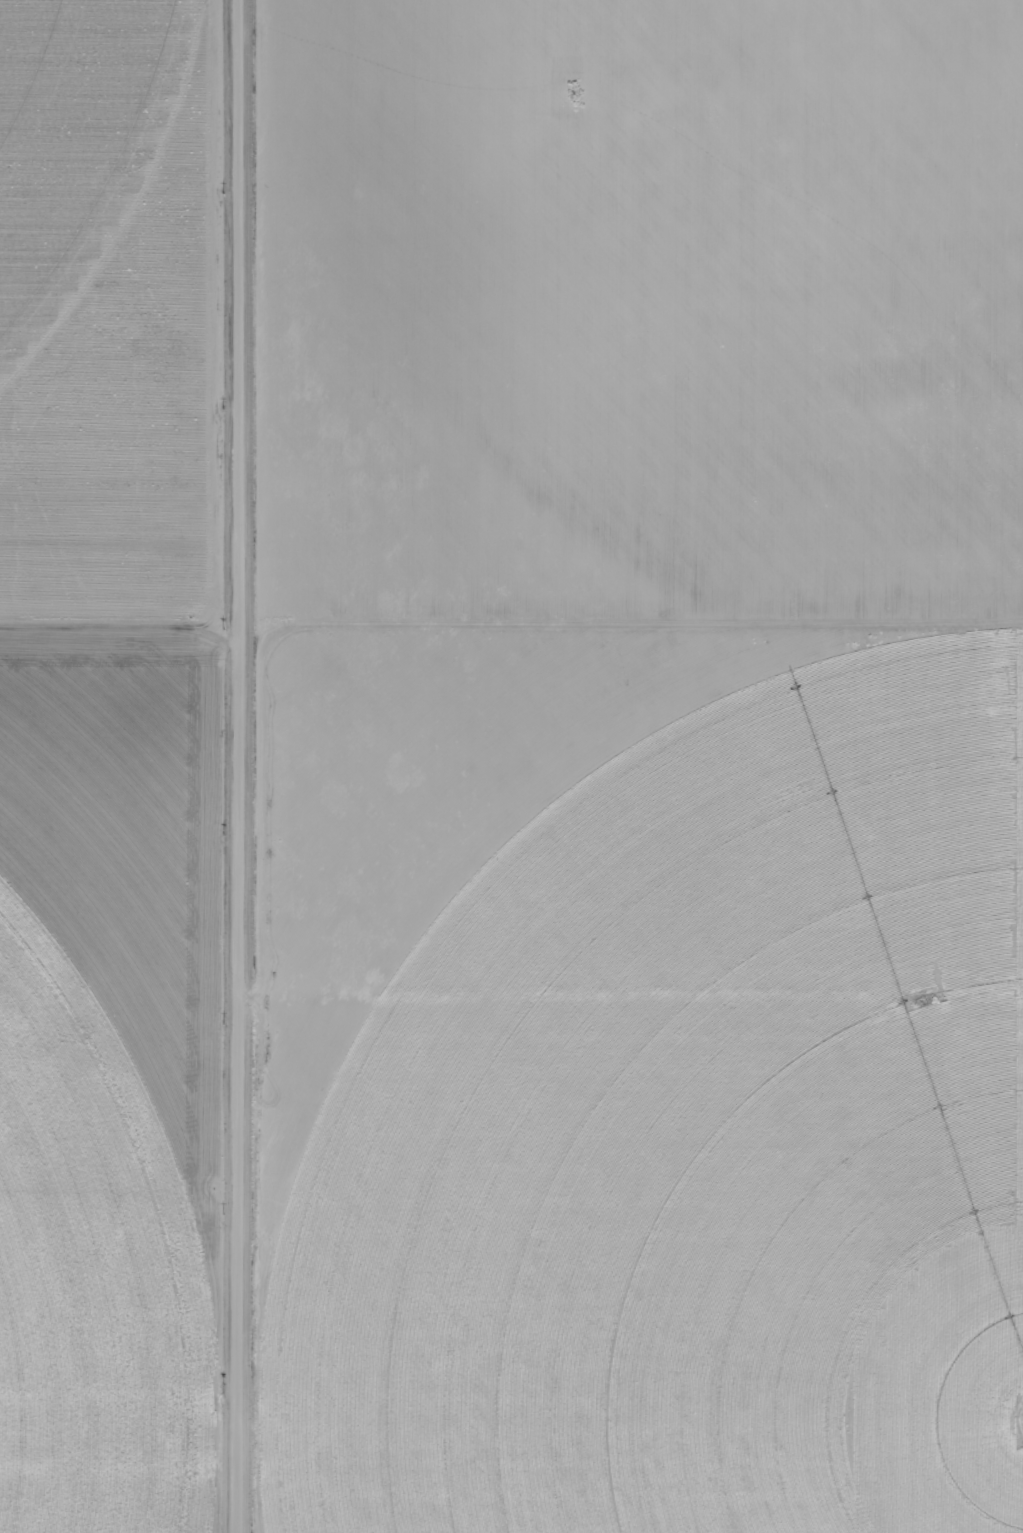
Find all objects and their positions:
road: (236, 766)

